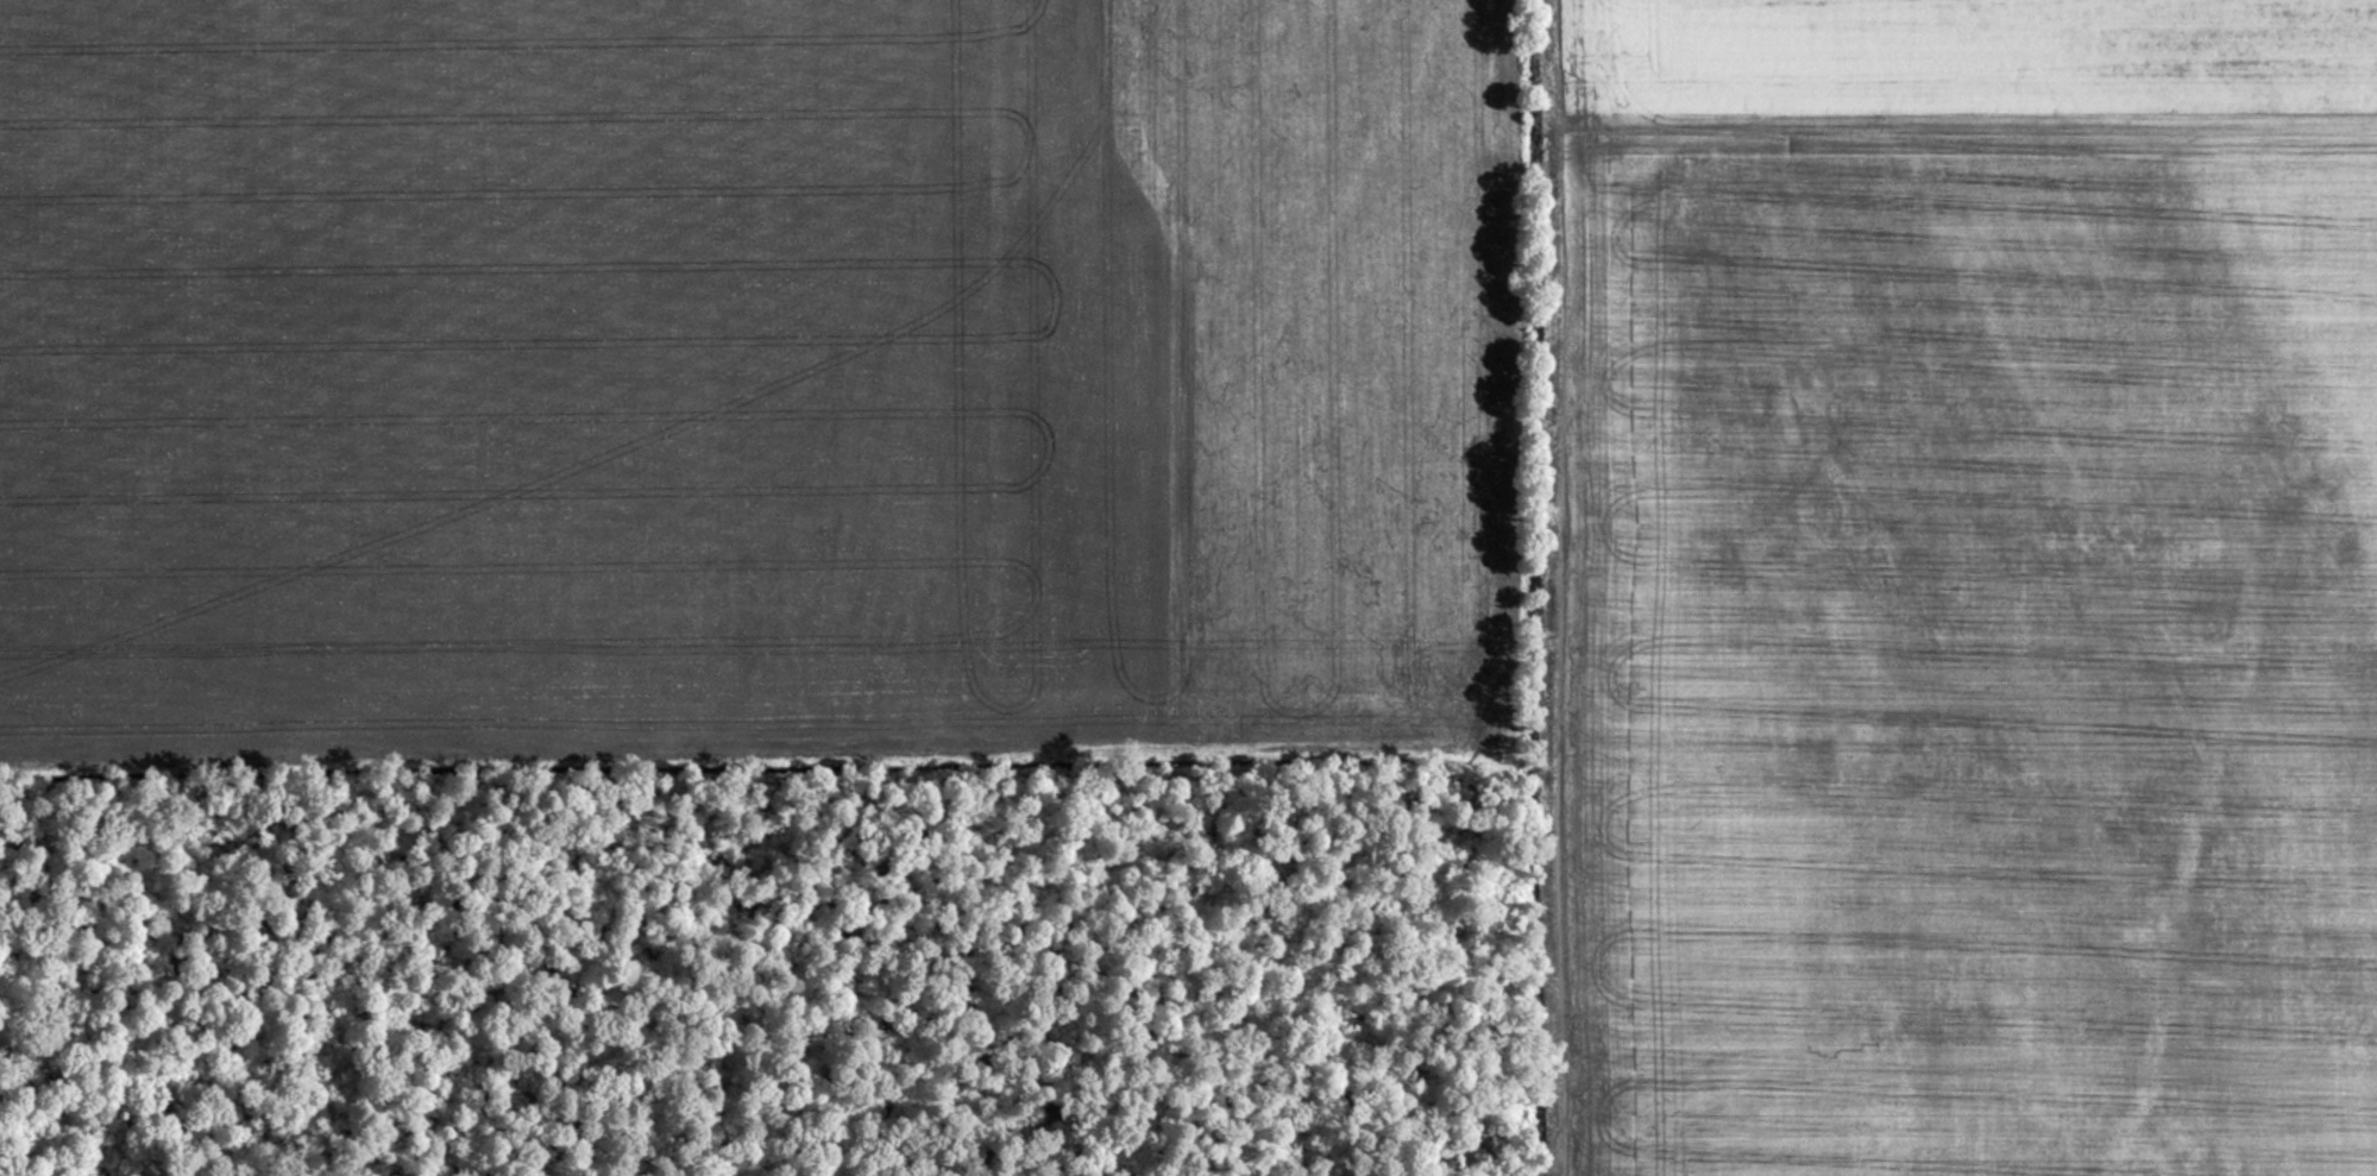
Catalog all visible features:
park: (765, 973)

